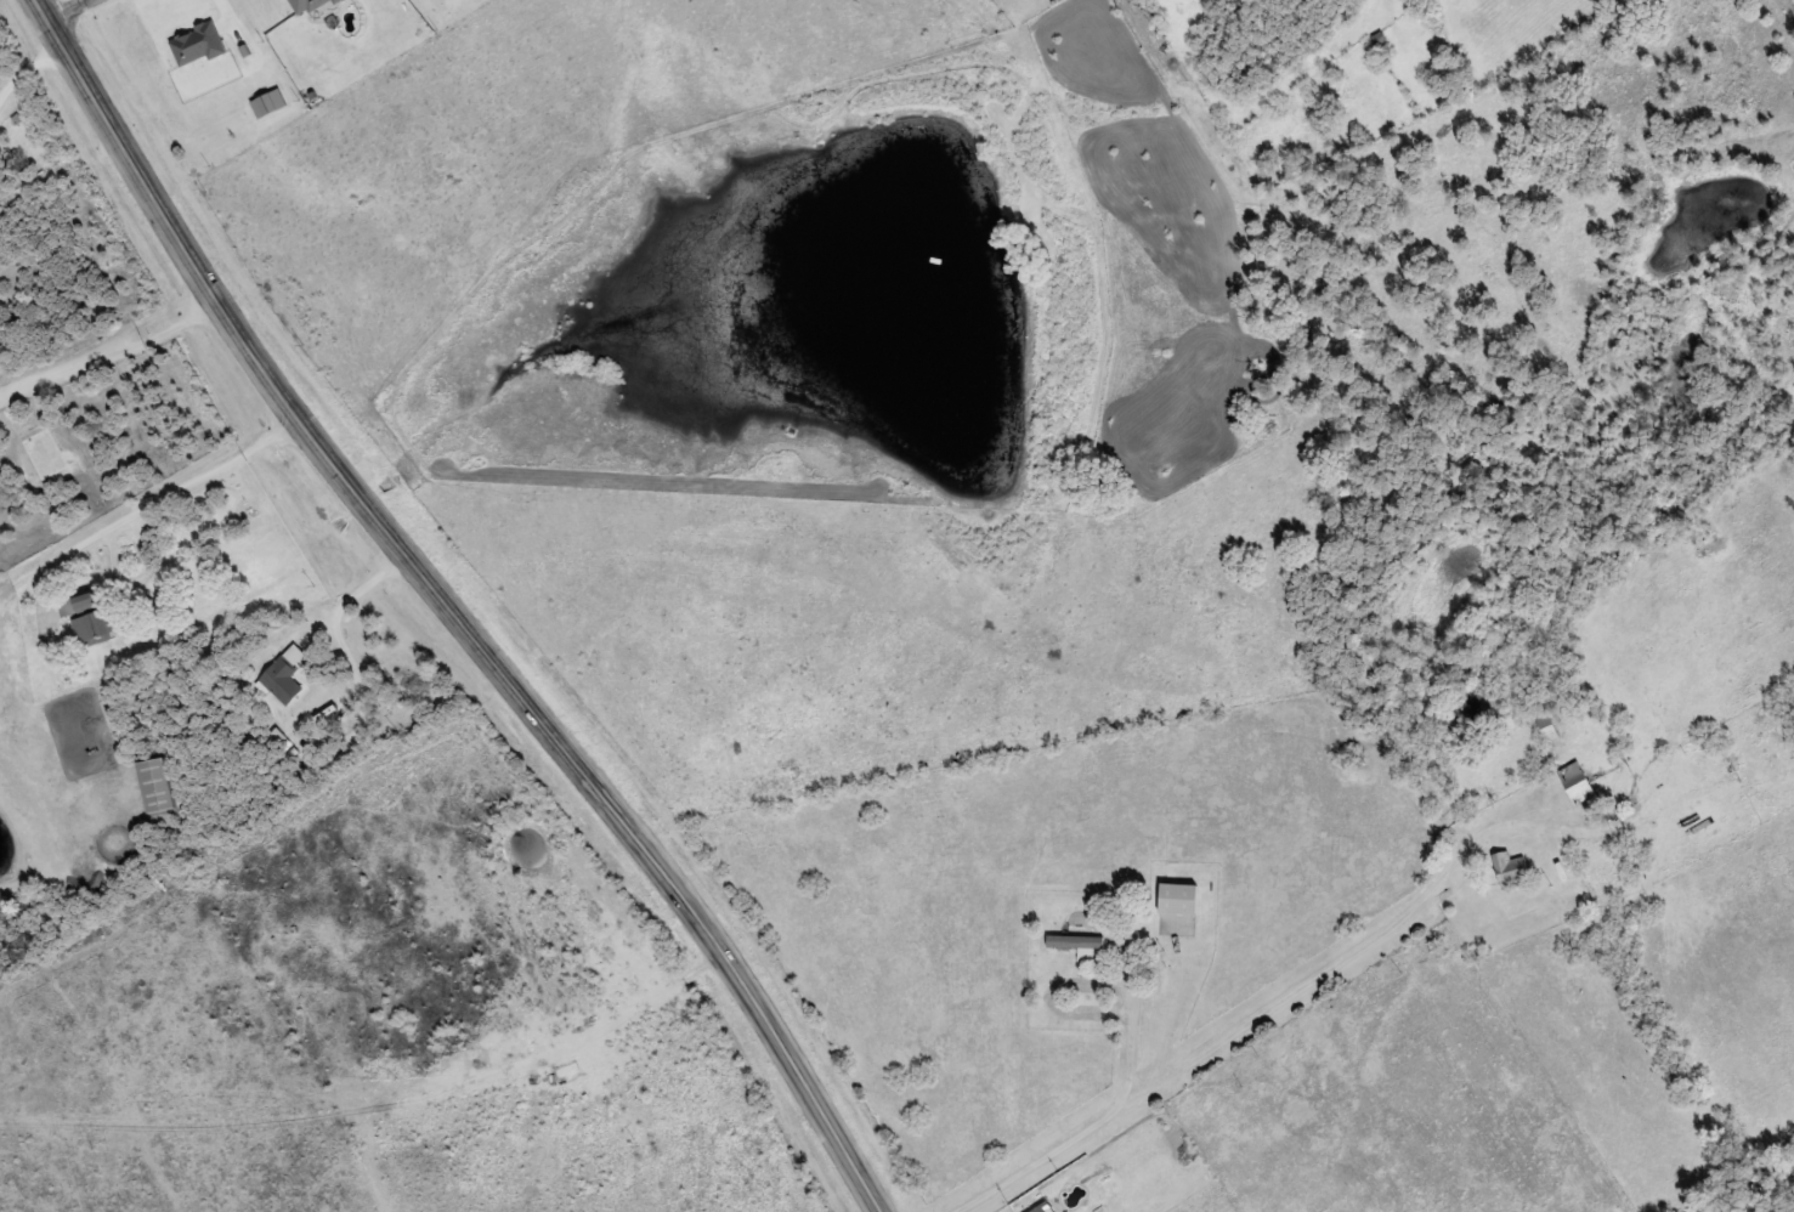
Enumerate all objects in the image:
road: (74, 11)
building: (85, 600)
road: (455, 608)
building: (94, 627)
building: (282, 680)
building: (1546, 725)
building: (1575, 782)
building: (154, 785)
building: (1510, 868)
building: (1179, 901)
building: (1076, 941)
road: (1430, 1088)
building: (1039, 1208)

